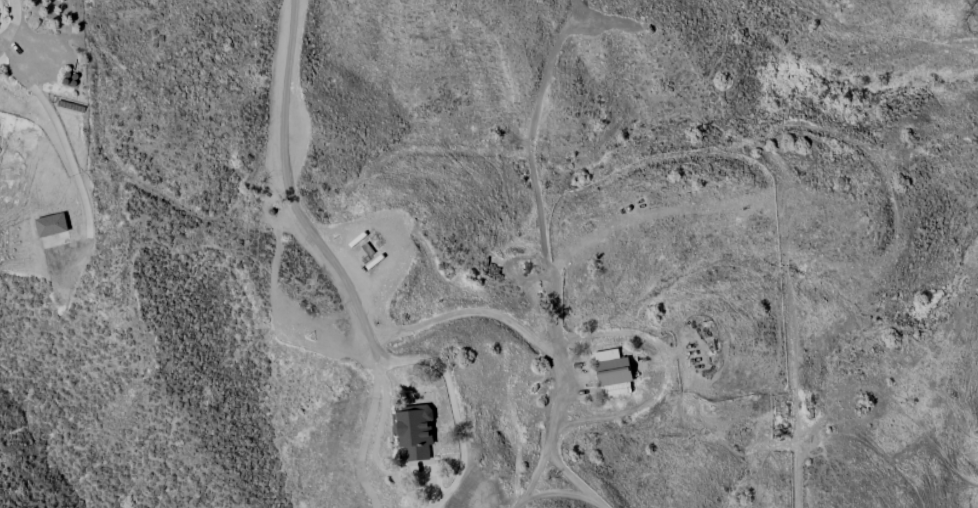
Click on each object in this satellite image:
road: (13, 23)
road: (67, 147)
building: (53, 223)
road: (330, 257)
road: (474, 311)
building: (617, 371)
road: (455, 411)
road: (546, 439)
road: (574, 477)

